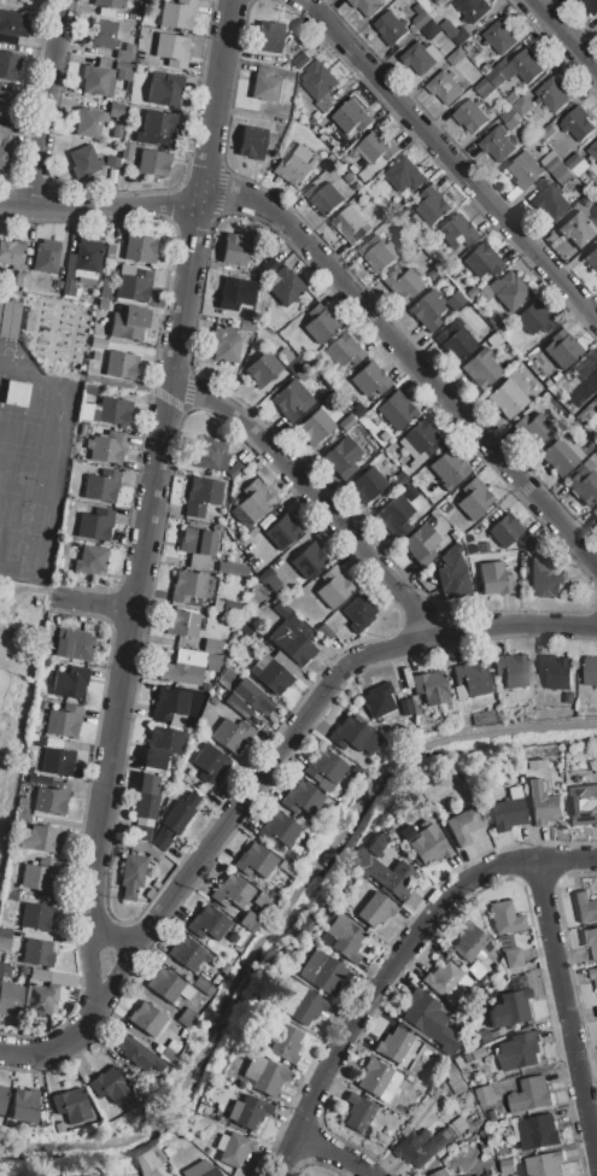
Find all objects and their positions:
building: (22, 1)
building: (422, 1)
building: (440, 1)
building: (150, 2)
building: (103, 4)
building: (367, 6)
building: (592, 6)
building: (473, 10)
building: (178, 14)
building: (421, 16)
building: (13, 24)
building: (391, 28)
building: (432, 29)
building: (455, 31)
building: (105, 35)
road: (564, 35)
building: (499, 36)
building: (269, 37)
building: (170, 47)
building: (129, 52)
building: (421, 57)
building: (456, 57)
building: (302, 60)
building: (526, 65)
building: (8, 66)
building: (486, 68)
building: (502, 72)
building: (318, 80)
building: (98, 82)
building: (265, 86)
building: (444, 87)
building: (484, 87)
building: (164, 90)
building: (552, 93)
building: (513, 98)
road: (217, 99)
road: (45, 103)
building: (326, 103)
building: (6, 104)
building: (523, 104)
building: (117, 111)
building: (508, 113)
building: (472, 116)
building: (351, 117)
building: (510, 123)
building: (578, 123)
building: (89, 124)
building: (158, 129)
building: (116, 131)
building: (546, 131)
building: (252, 144)
building: (498, 144)
building: (377, 145)
building: (5, 147)
building: (593, 150)
building: (127, 152)
road: (451, 157)
building: (84, 160)
building: (111, 162)
building: (551, 162)
building: (152, 163)
building: (576, 163)
building: (294, 168)
building: (523, 170)
building: (367, 172)
building: (404, 174)
building: (562, 174)
building: (324, 198)
building: (550, 201)
road: (100, 206)
building: (432, 206)
building: (351, 226)
building: (576, 229)
building: (456, 232)
building: (139, 250)
building: (235, 250)
building: (109, 253)
building: (379, 253)
building: (14, 256)
building: (47, 257)
building: (591, 259)
building: (481, 261)
building: (83, 262)
building: (269, 267)
building: (134, 283)
building: (402, 285)
building: (105, 286)
building: (283, 286)
building: (69, 288)
building: (508, 289)
building: (235, 293)
building: (470, 293)
building: (456, 302)
building: (0, 303)
building: (427, 311)
building: (10, 318)
building: (534, 318)
building: (494, 321)
building: (128, 323)
building: (318, 324)
building: (247, 327)
building: (456, 340)
building: (494, 340)
building: (98, 344)
building: (224, 345)
building: (343, 351)
building: (558, 353)
building: (285, 356)
building: (95, 357)
road: (411, 361)
building: (294, 364)
building: (121, 365)
building: (263, 369)
building: (481, 373)
building: (369, 381)
building: (583, 390)
building: (90, 391)
building: (16, 393)
building: (507, 399)
building: (292, 402)
building: (329, 410)
building: (596, 410)
building: (396, 411)
building: (596, 411)
building: (111, 413)
building: (346, 422)
building: (316, 427)
building: (534, 431)
building: (382, 437)
building: (421, 438)
building: (101, 449)
building: (210, 455)
building: (561, 455)
building: (343, 457)
building: (449, 469)
building: (234, 470)
building: (265, 475)
building: (398, 480)
building: (584, 482)
building: (368, 485)
building: (101, 486)
building: (201, 497)
road: (311, 497)
building: (474, 499)
building: (252, 504)
building: (593, 514)
building: (394, 516)
building: (440, 520)
building: (95, 525)
building: (504, 531)
building: (282, 532)
building: (420, 544)
building: (63, 546)
building: (198, 548)
building: (304, 557)
building: (90, 562)
road: (140, 563)
building: (232, 569)
building: (452, 573)
building: (546, 578)
building: (269, 579)
building: (494, 579)
building: (333, 587)
building: (188, 589)
road: (94, 603)
building: (230, 608)
building: (359, 613)
building: (292, 621)
building: (182, 624)
building: (246, 630)
building: (323, 632)
building: (74, 644)
building: (292, 644)
building: (211, 646)
building: (211, 663)
building: (183, 668)
building: (513, 669)
building: (557, 671)
building: (591, 671)
building: (273, 672)
building: (405, 679)
building: (470, 680)
building: (70, 683)
building: (205, 688)
building: (431, 688)
building: (247, 700)
building: (379, 701)
road: (316, 702)
park: (16, 704)
building: (169, 704)
building: (405, 708)
building: (64, 721)
building: (232, 736)
building: (353, 736)
building: (35, 741)
building: (158, 748)
building: (57, 762)
building: (210, 765)
building: (324, 767)
building: (52, 798)
building: (299, 798)
building: (584, 801)
building: (543, 802)
building: (145, 807)
building: (508, 811)
building: (180, 813)
building: (463, 826)
building: (279, 830)
building: (40, 839)
building: (160, 841)
building: (425, 843)
building: (375, 847)
building: (147, 850)
building: (254, 861)
building: (384, 874)
building: (40, 876)
building: (133, 877)
building: (230, 893)
building: (585, 908)
building: (376, 909)
building: (37, 917)
building: (505, 918)
building: (207, 923)
building: (248, 924)
road: (286, 929)
building: (345, 937)
road: (111, 938)
building: (591, 941)
building: (468, 942)
building: (39, 954)
building: (188, 954)
building: (513, 958)
road: (393, 964)
road: (88, 967)
building: (322, 972)
road: (115, 973)
building: (40, 975)
building: (593, 975)
building: (479, 976)
building: (443, 979)
building: (169, 987)
building: (204, 988)
building: (42, 997)
building: (10, 999)
building: (299, 1004)
building: (510, 1006)
building: (596, 1008)
road: (566, 1011)
building: (188, 1016)
building: (429, 1017)
building: (147, 1019)
building: (181, 1031)
road: (57, 1045)
building: (287, 1045)
building: (392, 1045)
building: (172, 1046)
building: (520, 1051)
building: (137, 1054)
building: (478, 1054)
building: (168, 1055)
building: (263, 1076)
building: (377, 1080)
building: (453, 1080)
building: (106, 1083)
building: (485, 1094)
building: (531, 1094)
building: (2, 1099)
building: (71, 1105)
building: (25, 1107)
building: (248, 1112)
building: (358, 1112)
building: (538, 1133)
building: (421, 1147)
building: (232, 1148)
road: (333, 1153)
building: (545, 1164)
building: (508, 1165)
building: (201, 1169)
building: (441, 1172)

